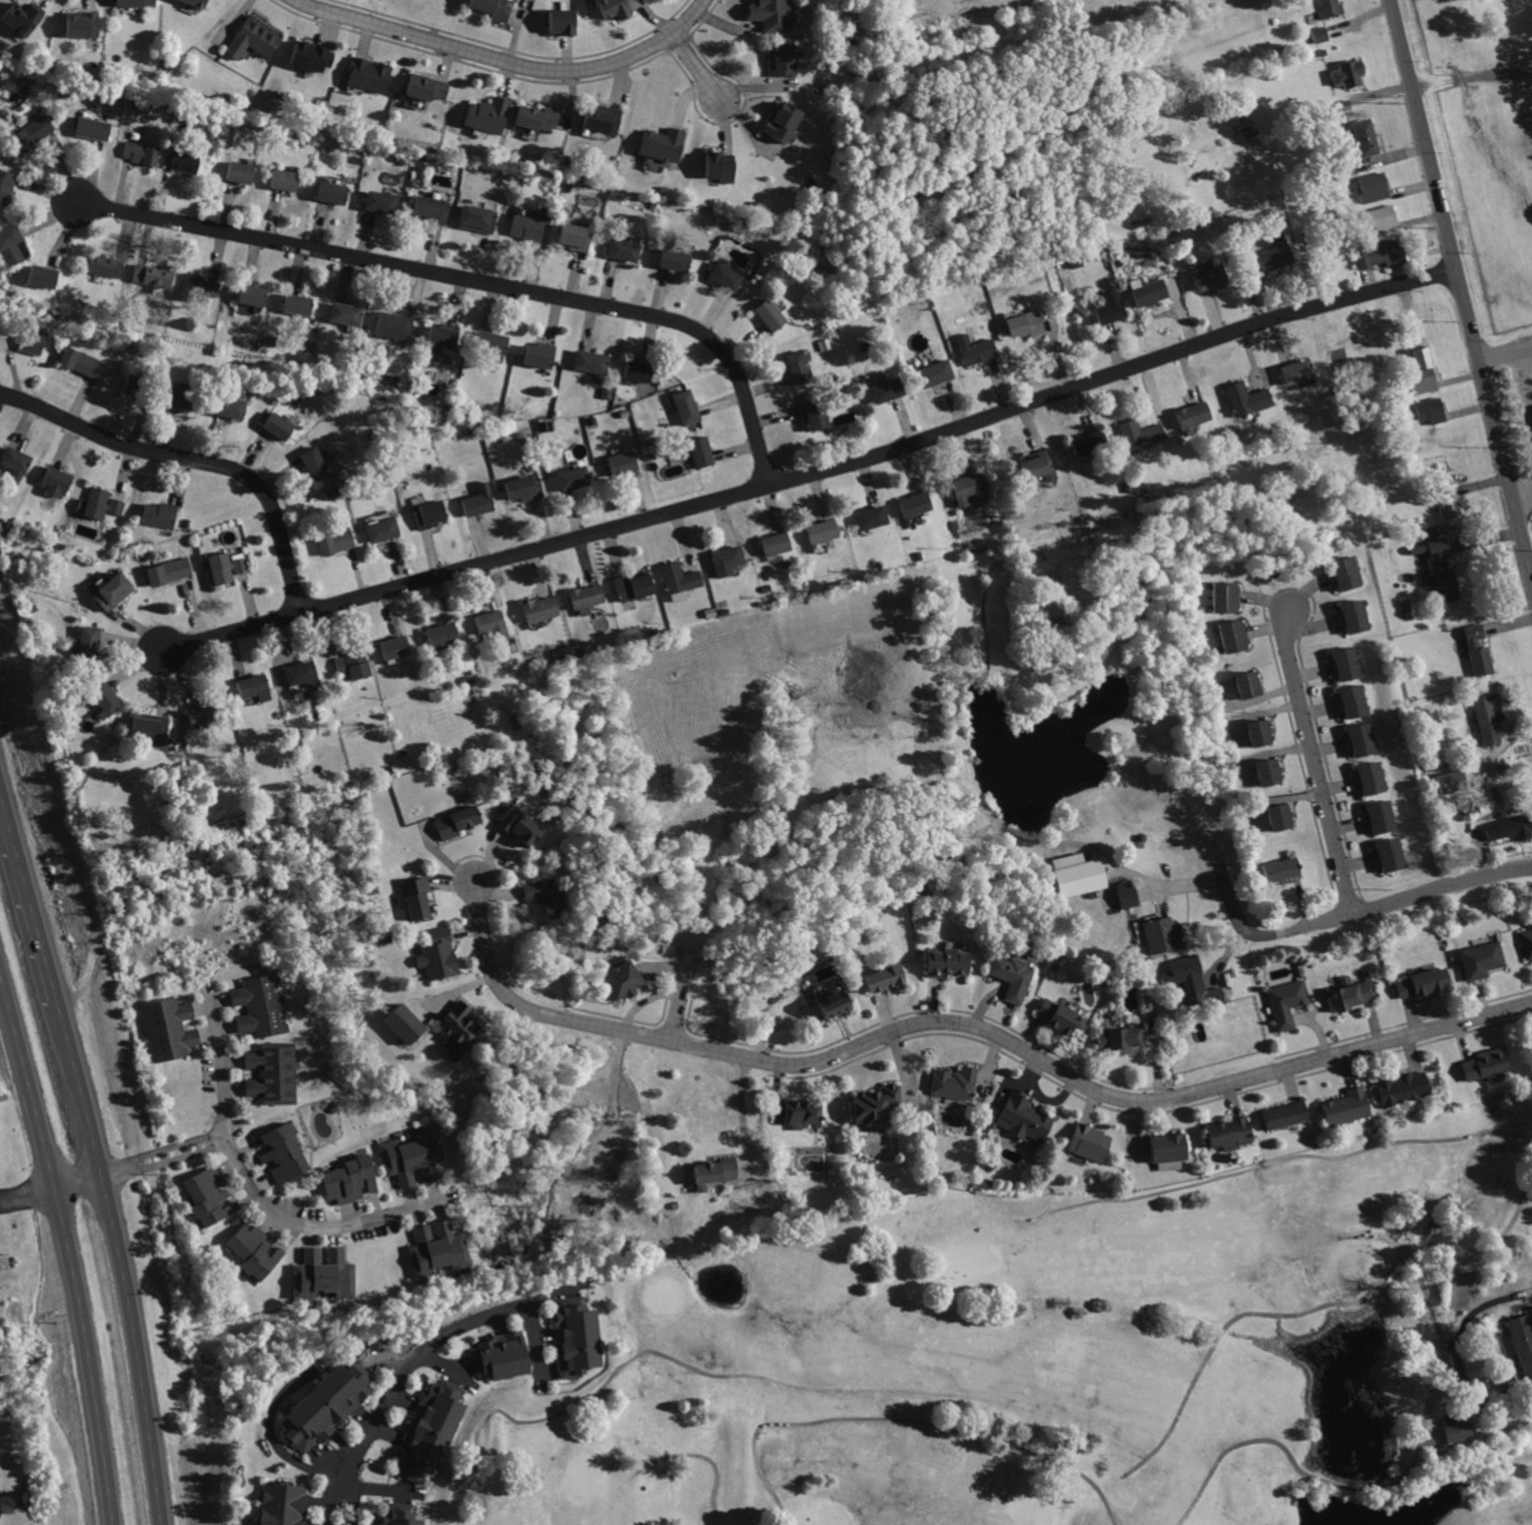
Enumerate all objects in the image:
building: (138, 3)
building: (194, 3)
building: (1332, 7)
building: (616, 8)
building: (492, 9)
building: (772, 15)
building: (23, 19)
building: (563, 20)
building: (83, 26)
building: (255, 37)
building: (1318, 37)
building: (312, 56)
building: (783, 58)
road: (508, 61)
road: (697, 70)
building: (1348, 70)
building: (371, 75)
road: (1471, 78)
building: (426, 86)
building: (1342, 102)
building: (489, 114)
building: (539, 116)
building: (604, 117)
building: (782, 122)
building: (95, 127)
building: (34, 132)
building: (1367, 135)
building: (664, 143)
building: (141, 152)
building: (185, 161)
building: (719, 166)
building: (241, 171)
building: (286, 180)
building: (6, 185)
building: (1375, 185)
building: (334, 192)
building: (383, 201)
building: (432, 209)
building: (1383, 218)
building: (481, 219)
building: (528, 230)
building: (576, 237)
building: (12, 246)
building: (624, 250)
building: (1384, 254)
building: (1275, 256)
building: (677, 261)
building: (107, 264)
building: (153, 274)
building: (44, 276)
building: (1210, 278)
road: (476, 279)
building: (726, 279)
road: (1460, 285)
building: (201, 287)
building: (1151, 293)
building: (252, 296)
building: (300, 306)
building: (1111, 308)
building: (348, 313)
building: (773, 314)
building: (1028, 324)
building: (395, 327)
building: (438, 341)
building: (32, 342)
building: (493, 342)
building: (977, 347)
building: (542, 357)
building: (83, 363)
building: (592, 364)
building: (800, 367)
building: (640, 371)
building: (939, 373)
building: (1299, 373)
building: (1423, 375)
road: (1516, 382)
building: (141, 387)
building: (889, 391)
building: (182, 397)
building: (1249, 398)
building: (687, 406)
building: (231, 407)
building: (1433, 410)
building: (1531, 411)
building: (815, 415)
building: (1195, 415)
building: (280, 425)
building: (1143, 436)
building: (1091, 443)
building: (703, 452)
road: (195, 459)
building: (315, 462)
building: (17, 463)
building: (625, 463)
building: (1038, 465)
road: (815, 473)
building: (573, 477)
building: (56, 482)
building: (527, 489)
building: (974, 489)
road: (1522, 493)
building: (481, 500)
building: (916, 503)
building: (1452, 503)
building: (103, 504)
building: (163, 515)
building: (430, 515)
building: (872, 517)
building: (384, 530)
building: (823, 531)
building: (336, 542)
building: (777, 543)
building: (729, 558)
building: (227, 568)
building: (169, 570)
building: (1445, 572)
building: (1346, 573)
building: (680, 578)
building: (633, 587)
building: (114, 592)
building: (587, 596)
building: (1226, 597)
building: (541, 609)
building: (1355, 616)
building: (494, 623)
building: (445, 633)
building: (1234, 635)
building: (90, 642)
building: (397, 647)
building: (1478, 652)
building: (1345, 662)
building: (353, 663)
building: (302, 674)
building: (1249, 682)
building: (253, 687)
building: (106, 694)
building: (1353, 701)
building: (203, 717)
building: (1486, 719)
building: (155, 727)
building: (1260, 731)
building: (1363, 738)
road: (1316, 766)
building: (1268, 771)
building: (1372, 777)
building: (1451, 780)
building: (1381, 814)
building: (1282, 816)
building: (458, 820)
building: (522, 824)
building: (1508, 826)
building: (1390, 852)
building: (1281, 868)
building: (1078, 874)
road: (1182, 884)
road: (30, 887)
building: (1128, 894)
building: (417, 895)
building: (542, 899)
road: (1356, 914)
building: (1162, 935)
building: (1527, 940)
building: (439, 952)
road: (1226, 954)
building: (1481, 960)
building: (947, 962)
building: (886, 976)
building: (1015, 977)
building: (622, 979)
building: (1423, 981)
building: (1198, 983)
building: (1353, 992)
building: (1286, 1001)
road: (680, 1002)
building: (835, 1002)
building: (262, 1006)
building: (1060, 1014)
building: (403, 1023)
road: (968, 1023)
building: (170, 1027)
building: (462, 1027)
building: (1120, 1036)
building: (1486, 1066)
building: (272, 1072)
building: (956, 1084)
building: (1404, 1087)
building: (875, 1105)
building: (1345, 1107)
road: (740, 1112)
building: (805, 1113)
building: (1285, 1113)
building: (1023, 1118)
building: (1229, 1132)
building: (1090, 1142)
building: (1170, 1146)
road: (161, 1149)
building: (282, 1153)
building: (414, 1159)
road: (166, 1162)
road: (1278, 1162)
park: (1498, 1170)
building: (716, 1171)
road: (81, 1181)
building: (351, 1181)
road: (29, 1192)
road: (256, 1193)
building: (211, 1196)
road: (1507, 1229)
road: (1382, 1236)
road: (68, 1243)
building: (439, 1248)
building: (254, 1250)
road: (120, 1259)
park: (970, 1261)
road: (1438, 1264)
building: (326, 1272)
road: (1251, 1314)
road: (449, 1336)
building: (577, 1339)
building: (1522, 1343)
park: (1054, 1355)
building: (500, 1357)
road: (1443, 1357)
road: (763, 1378)
building: (325, 1404)
road: (903, 1418)
building: (427, 1430)
building: (1458, 1430)
building: (50, 1438)
road: (1477, 1444)
road: (276, 1445)
road: (1288, 1451)
road: (694, 1455)
road: (1135, 1467)
park: (584, 1477)
road: (332, 1480)
road: (358, 1484)
building: (286, 1502)
park: (1036, 1504)
park: (834, 1513)
building: (399, 1518)

